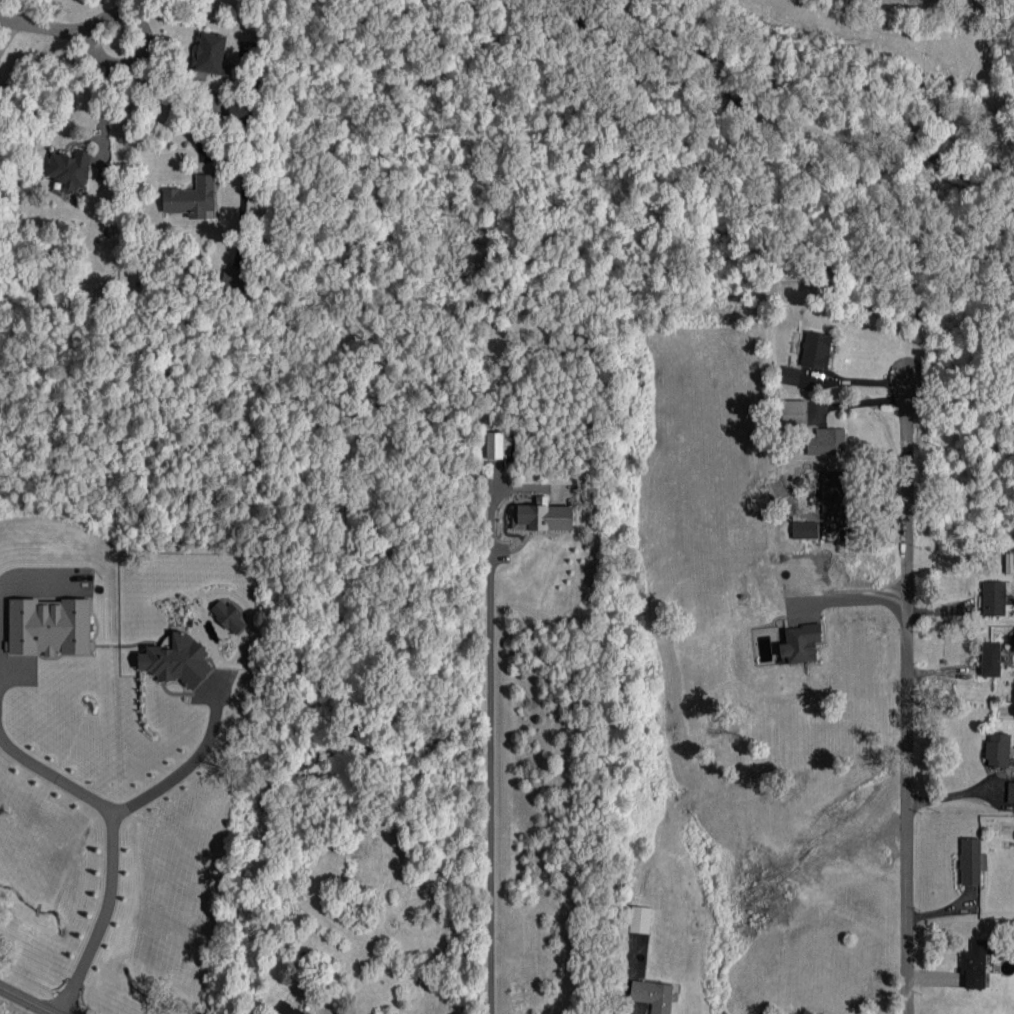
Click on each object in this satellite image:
road: (128, 8)
road: (39, 27)
building: (211, 54)
road: (125, 63)
road: (174, 106)
building: (240, 111)
road: (101, 116)
building: (70, 168)
building: (192, 198)
building: (233, 280)
building: (816, 350)
building: (790, 375)
road: (855, 380)
building: (790, 413)
building: (826, 441)
building: (498, 445)
building: (833, 491)
road: (855, 515)
building: (542, 516)
building: (804, 530)
building: (995, 599)
road: (844, 603)
building: (228, 615)
building: (50, 627)
building: (801, 643)
building: (990, 659)
building: (176, 661)
road: (907, 688)
building: (998, 750)
road: (182, 764)
road: (488, 784)
building: (1010, 792)
road: (955, 794)
road: (110, 853)
building: (970, 861)
building: (640, 919)
building: (976, 962)
building: (653, 995)
road: (25, 1001)
building: (287, 1009)

